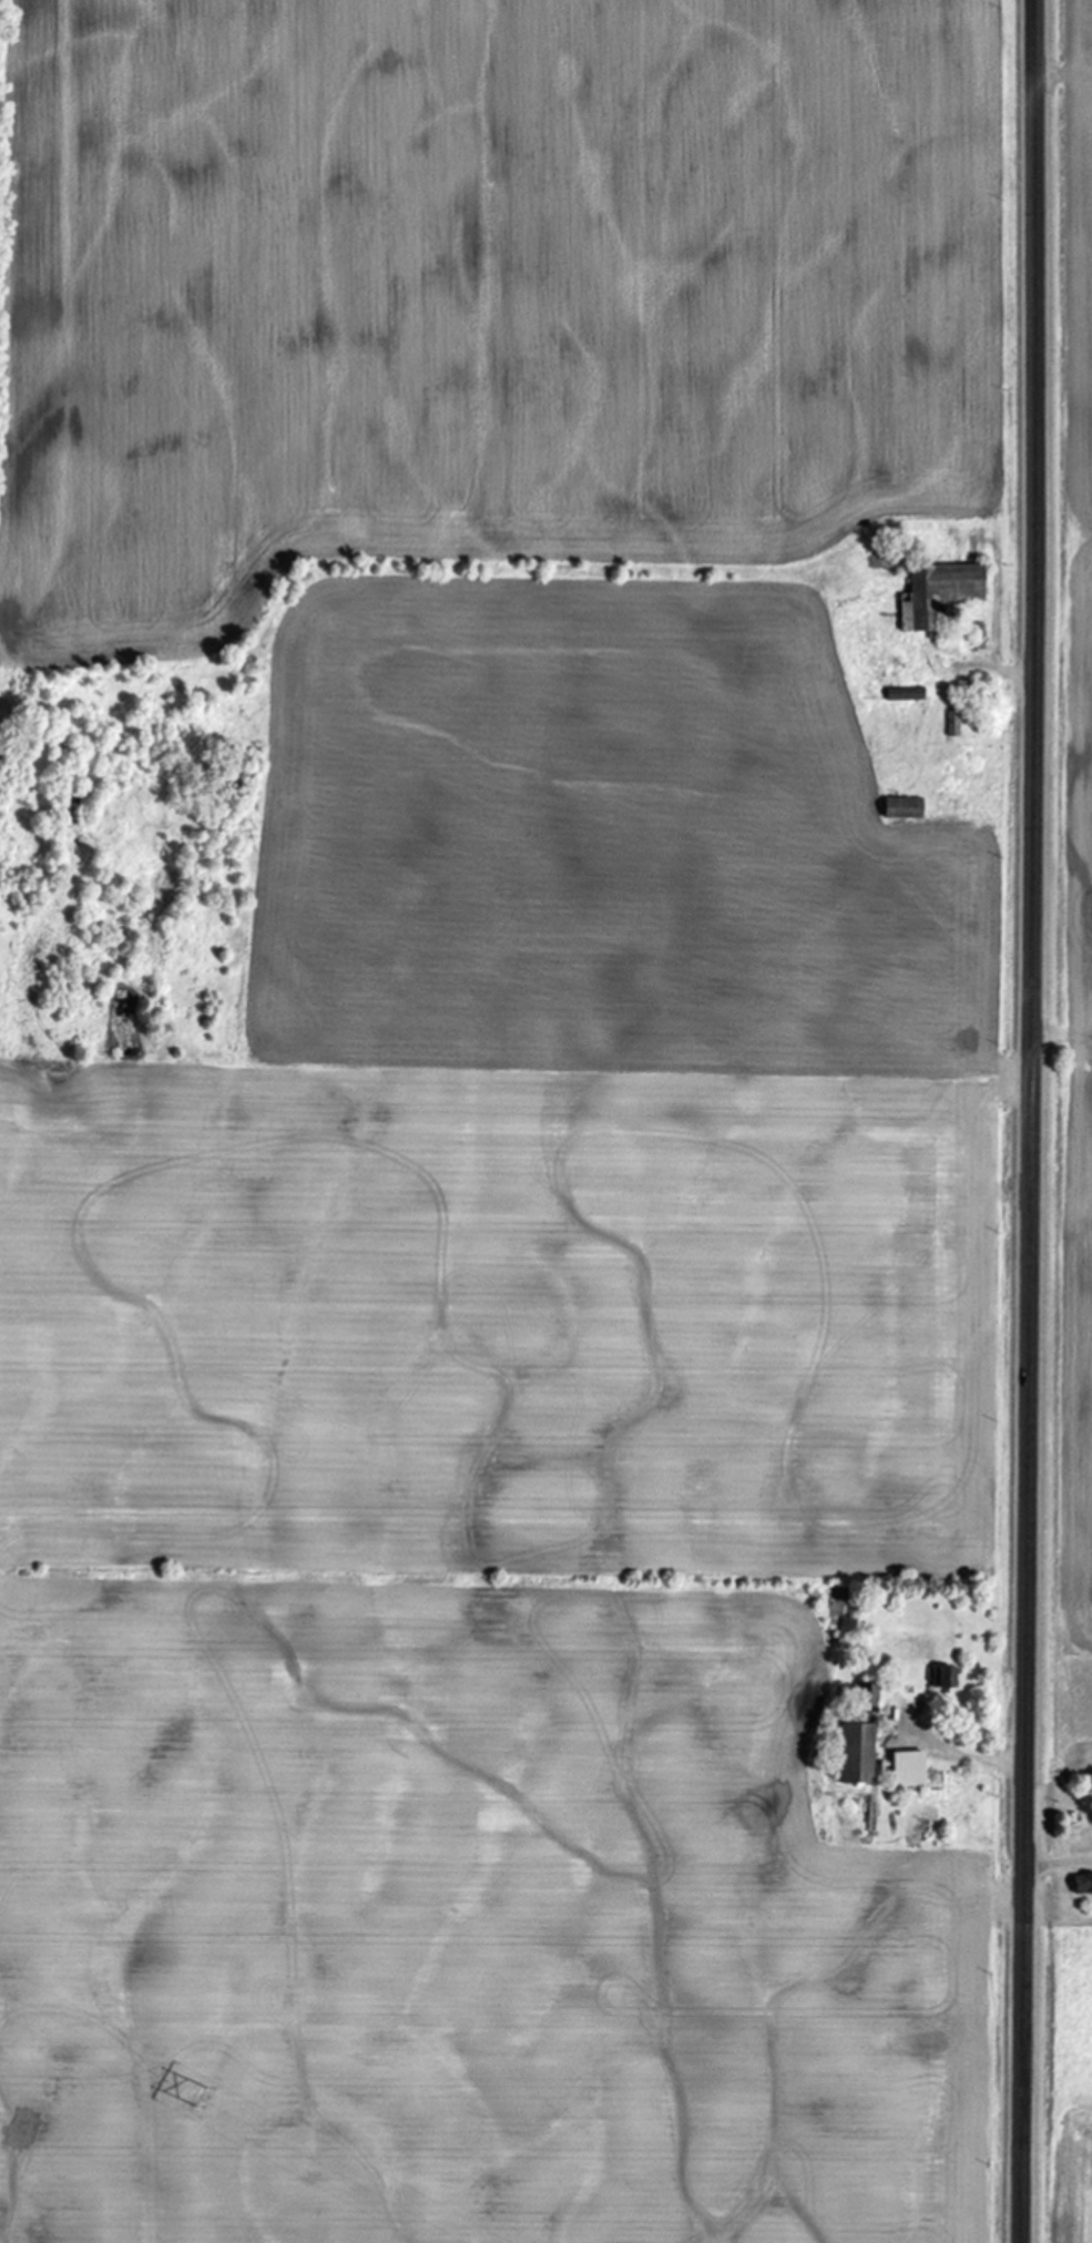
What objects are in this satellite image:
building: (941, 592)
building: (905, 807)
road: (1030, 1121)
building: (948, 1678)
building: (871, 1700)
building: (858, 1754)
road: (968, 1756)
building: (910, 1768)
road: (1058, 1864)
building: (1083, 1885)
power tower: (201, 2097)

